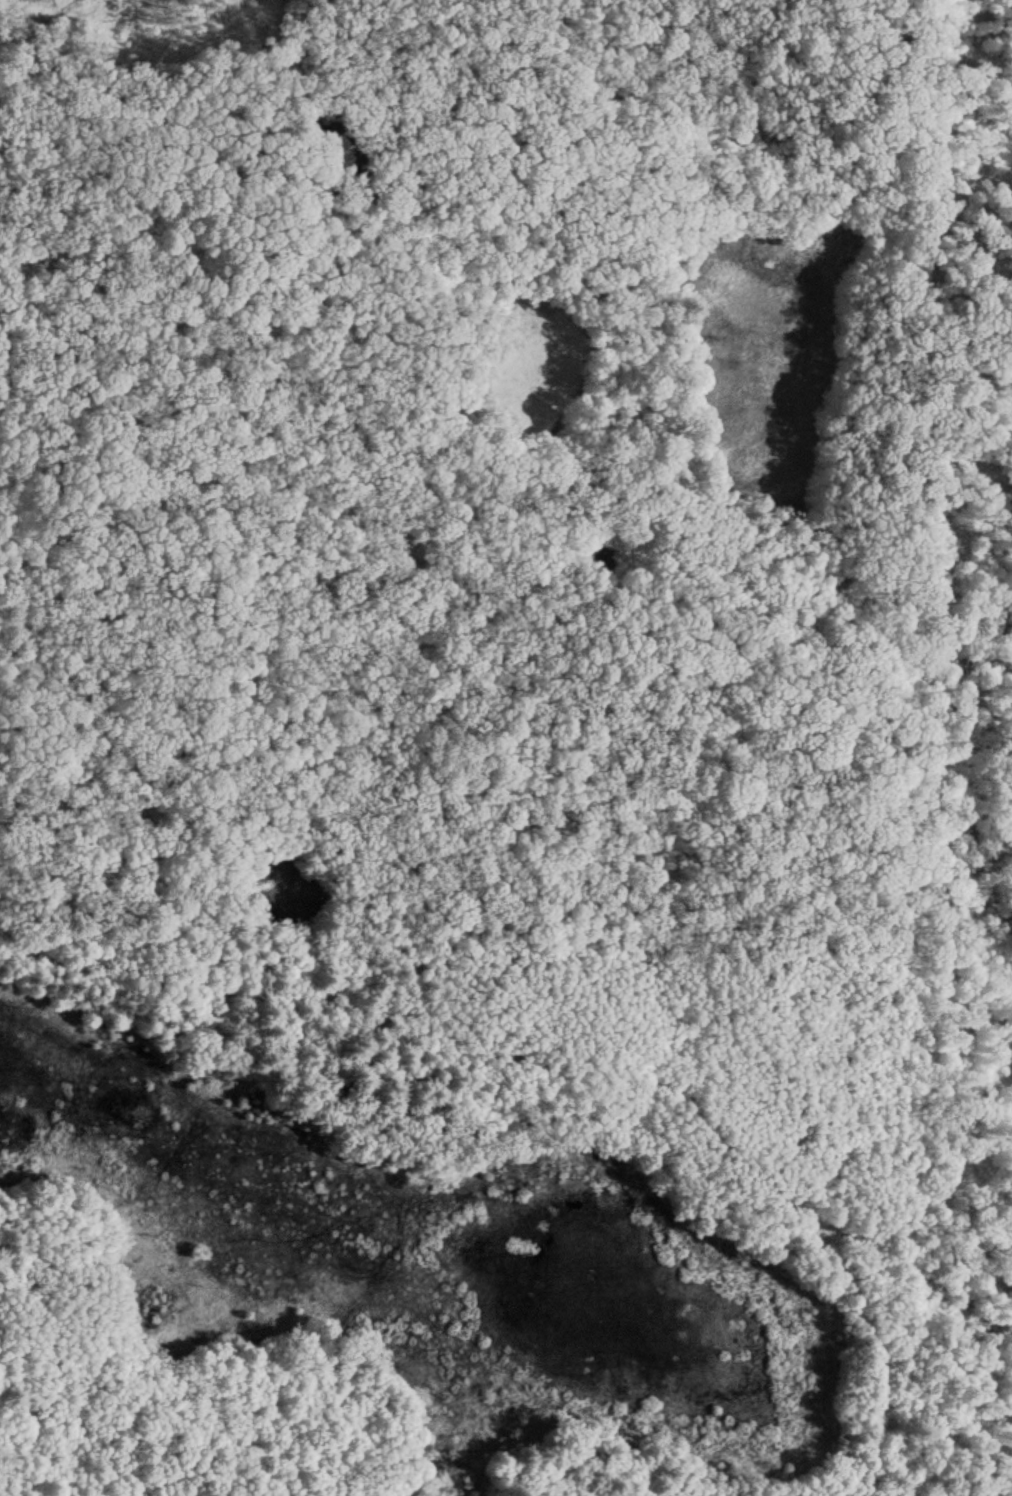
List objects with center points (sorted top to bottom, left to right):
road: (570, 1062)

